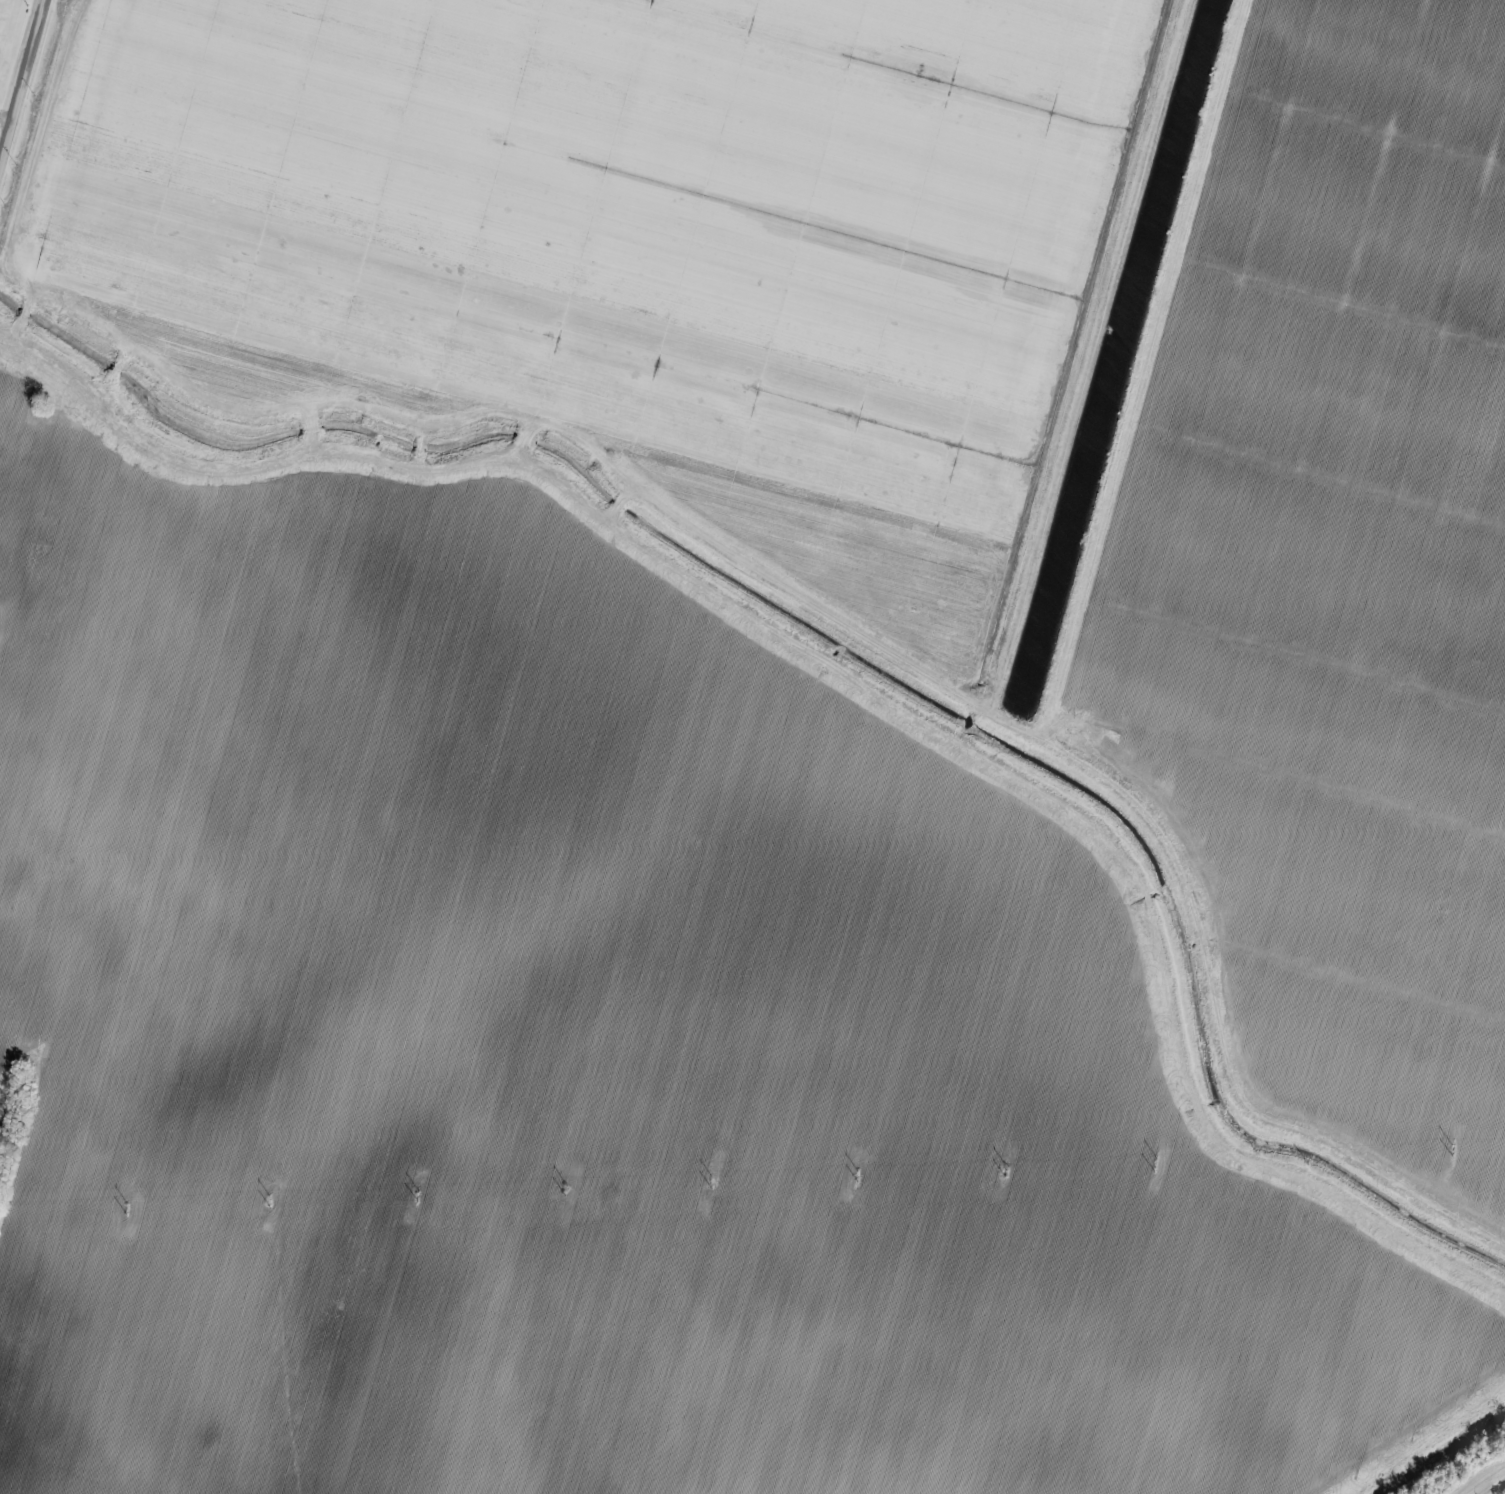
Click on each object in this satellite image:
road: (24, 88)
railway: (1479, 1476)

